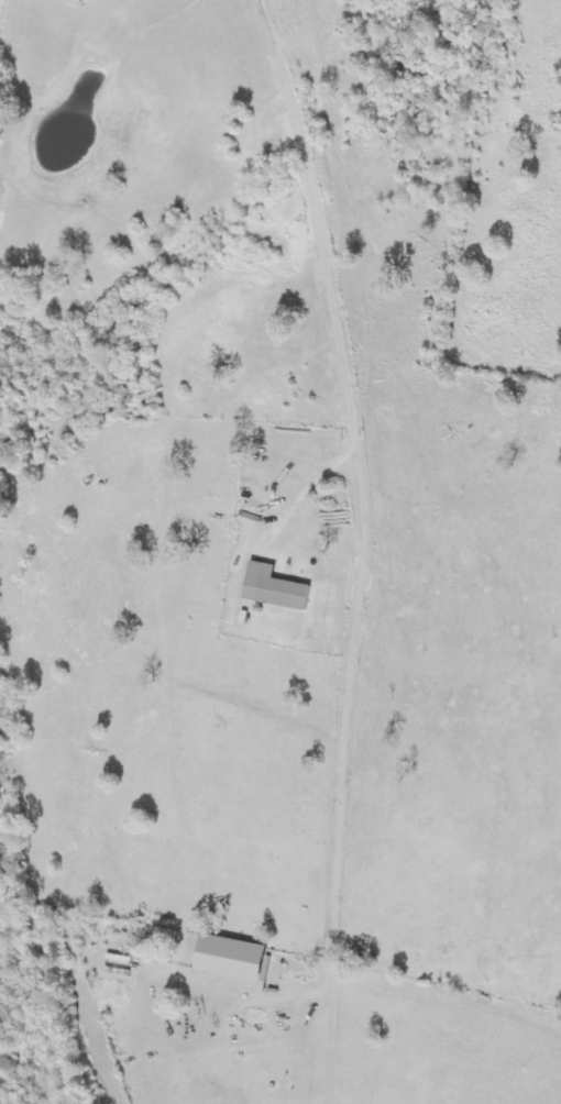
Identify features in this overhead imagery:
building: (275, 589)
building: (233, 959)

